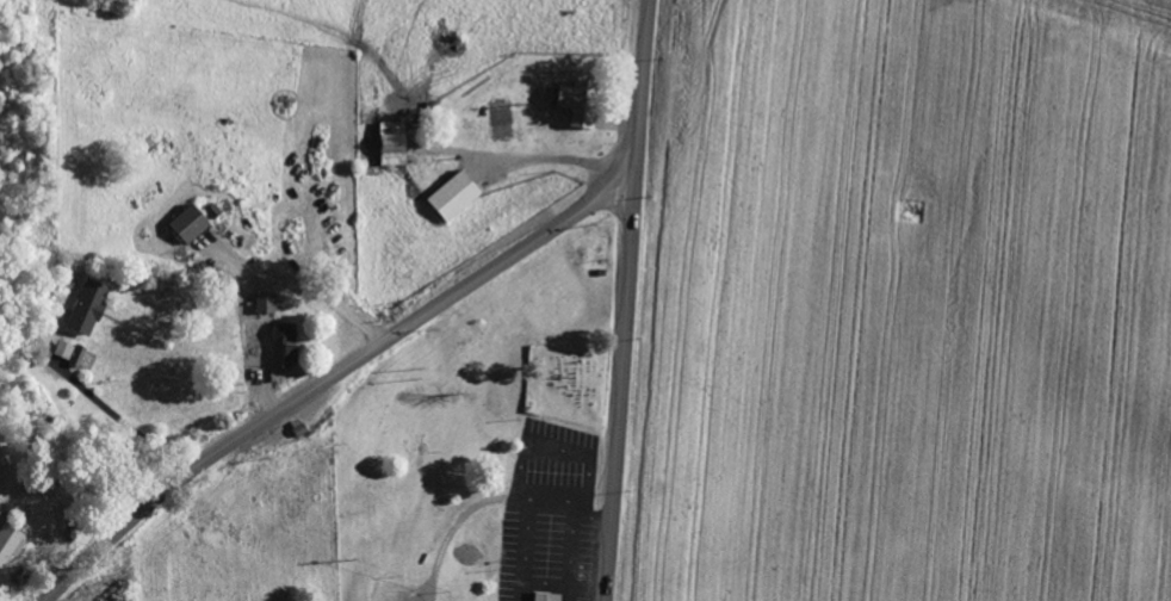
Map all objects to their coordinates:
road: (640, 89)
road: (373, 92)
building: (581, 104)
building: (395, 143)
building: (457, 194)
building: (191, 223)
building: (266, 303)
building: (89, 306)
building: (284, 345)
building: (64, 349)
building: (79, 355)
road: (329, 377)
park: (568, 380)
road: (620, 390)
building: (11, 543)
building: (547, 596)

